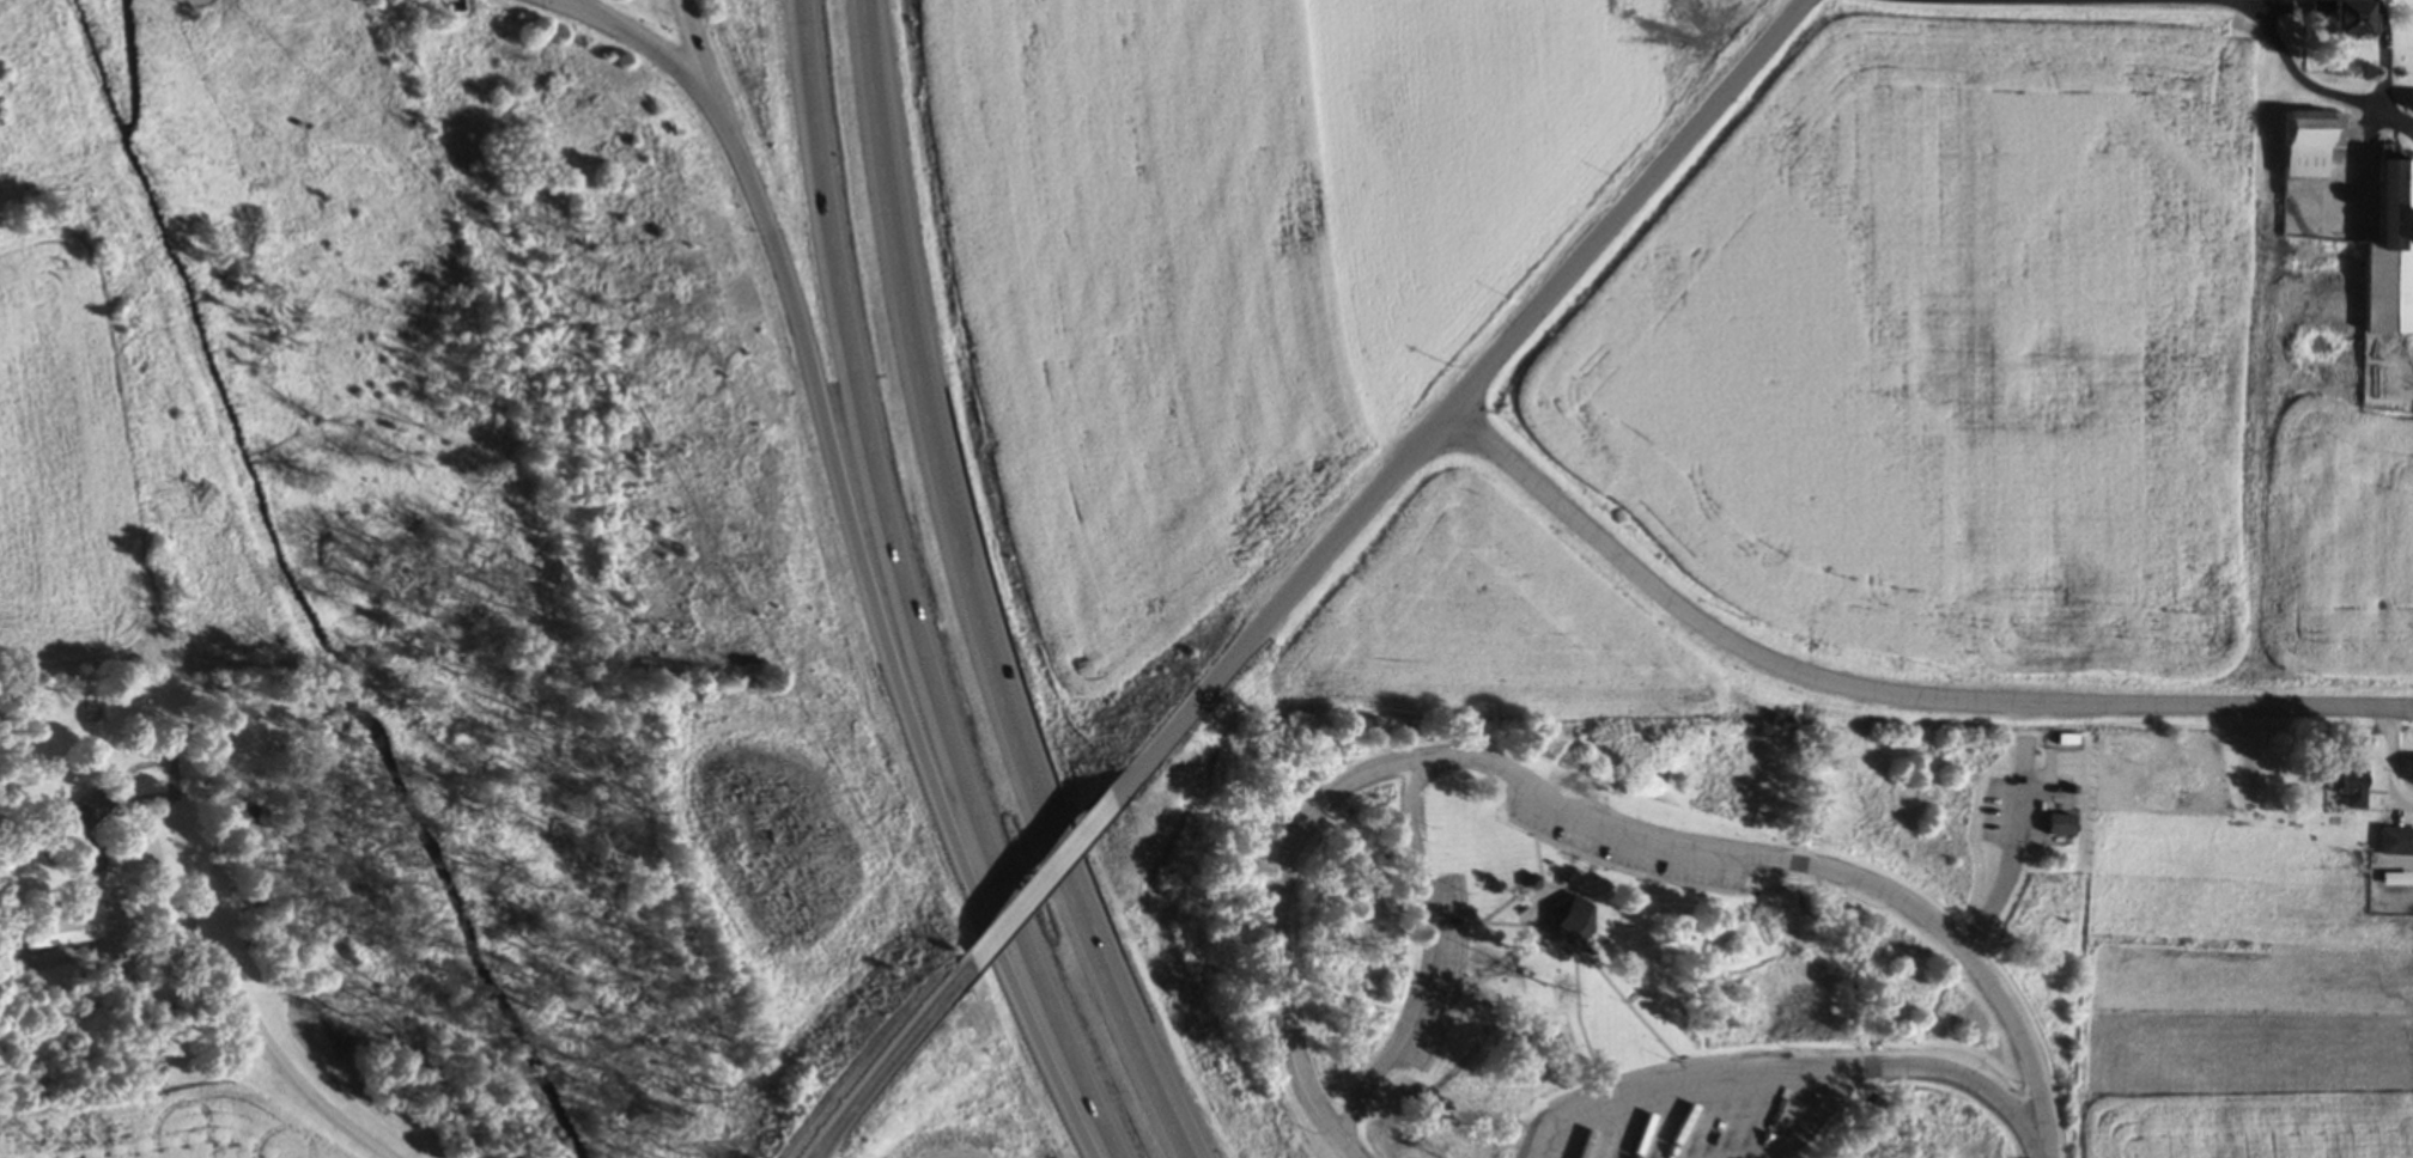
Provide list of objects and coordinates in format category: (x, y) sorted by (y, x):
road: (2159, 1)
parking lot: (555, 2)
building: (455, 4)
building: (2352, 20)
road: (664, 56)
road: (712, 71)
building: (2411, 105)
road: (875, 135)
building: (2310, 145)
building: (2390, 255)
road: (1455, 404)
road: (941, 484)
road: (907, 593)
crop: (1485, 622)
road: (893, 657)
road: (1885, 694)
building: (2351, 786)
building: (84, 813)
road: (1414, 819)
building: (2061, 827)
road: (1636, 833)
building: (2396, 843)
road: (2018, 852)
parking lot: (1624, 854)
building: (79, 858)
road: (1287, 877)
building: (1531, 884)
road: (1034, 886)
building: (1569, 921)
road: (1105, 926)
building: (57, 928)
road: (1082, 930)
road: (1963, 950)
parking lot: (1446, 977)
road: (1427, 980)
road: (883, 1058)
road: (1969, 1078)
road: (1684, 1080)
road: (1364, 1103)
parking lot: (1703, 1111)
road: (1816, 1114)
building: (1738, 1120)
building: (1813, 1129)

